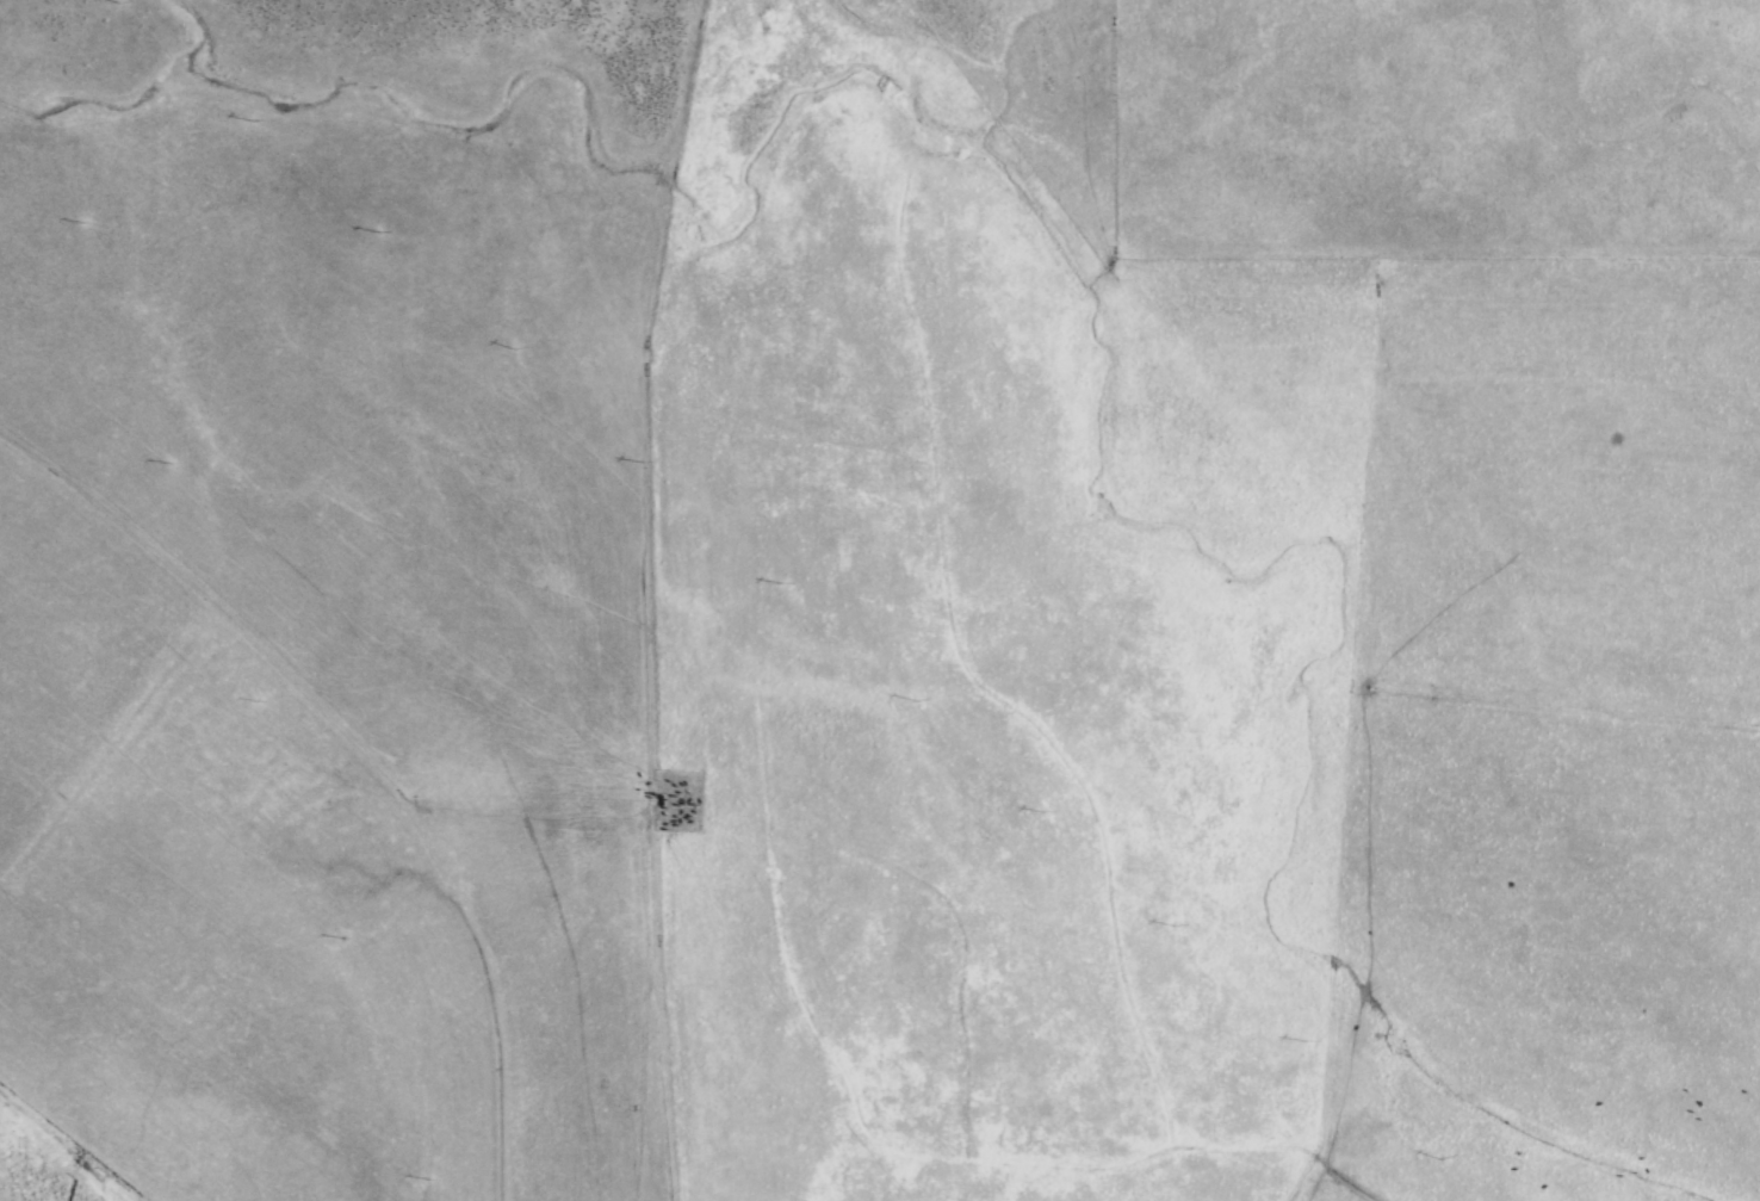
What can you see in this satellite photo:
crop: (1377, 273)

